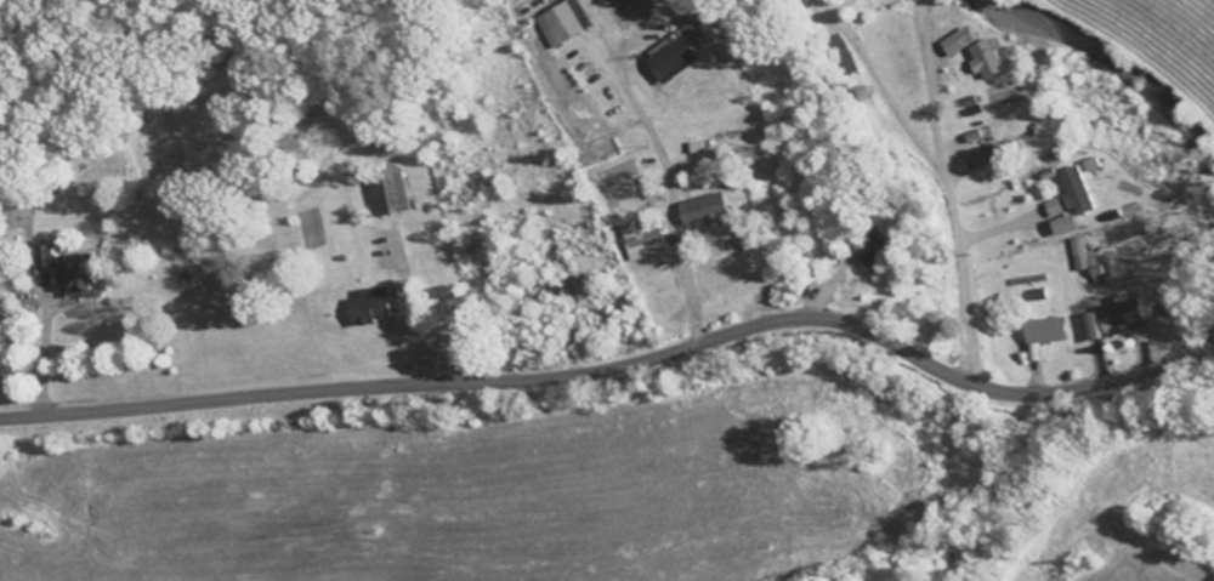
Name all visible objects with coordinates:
building: (562, 23)
building: (957, 41)
building: (676, 55)
building: (986, 59)
building: (983, 156)
road: (563, 183)
building: (1074, 193)
building: (388, 195)
building: (1051, 209)
building: (704, 210)
building: (1062, 227)
building: (640, 237)
building: (874, 249)
building: (1083, 261)
building: (70, 274)
building: (370, 307)
building: (1111, 320)
road: (418, 324)
building: (1043, 331)
building: (1136, 336)
road: (619, 366)

